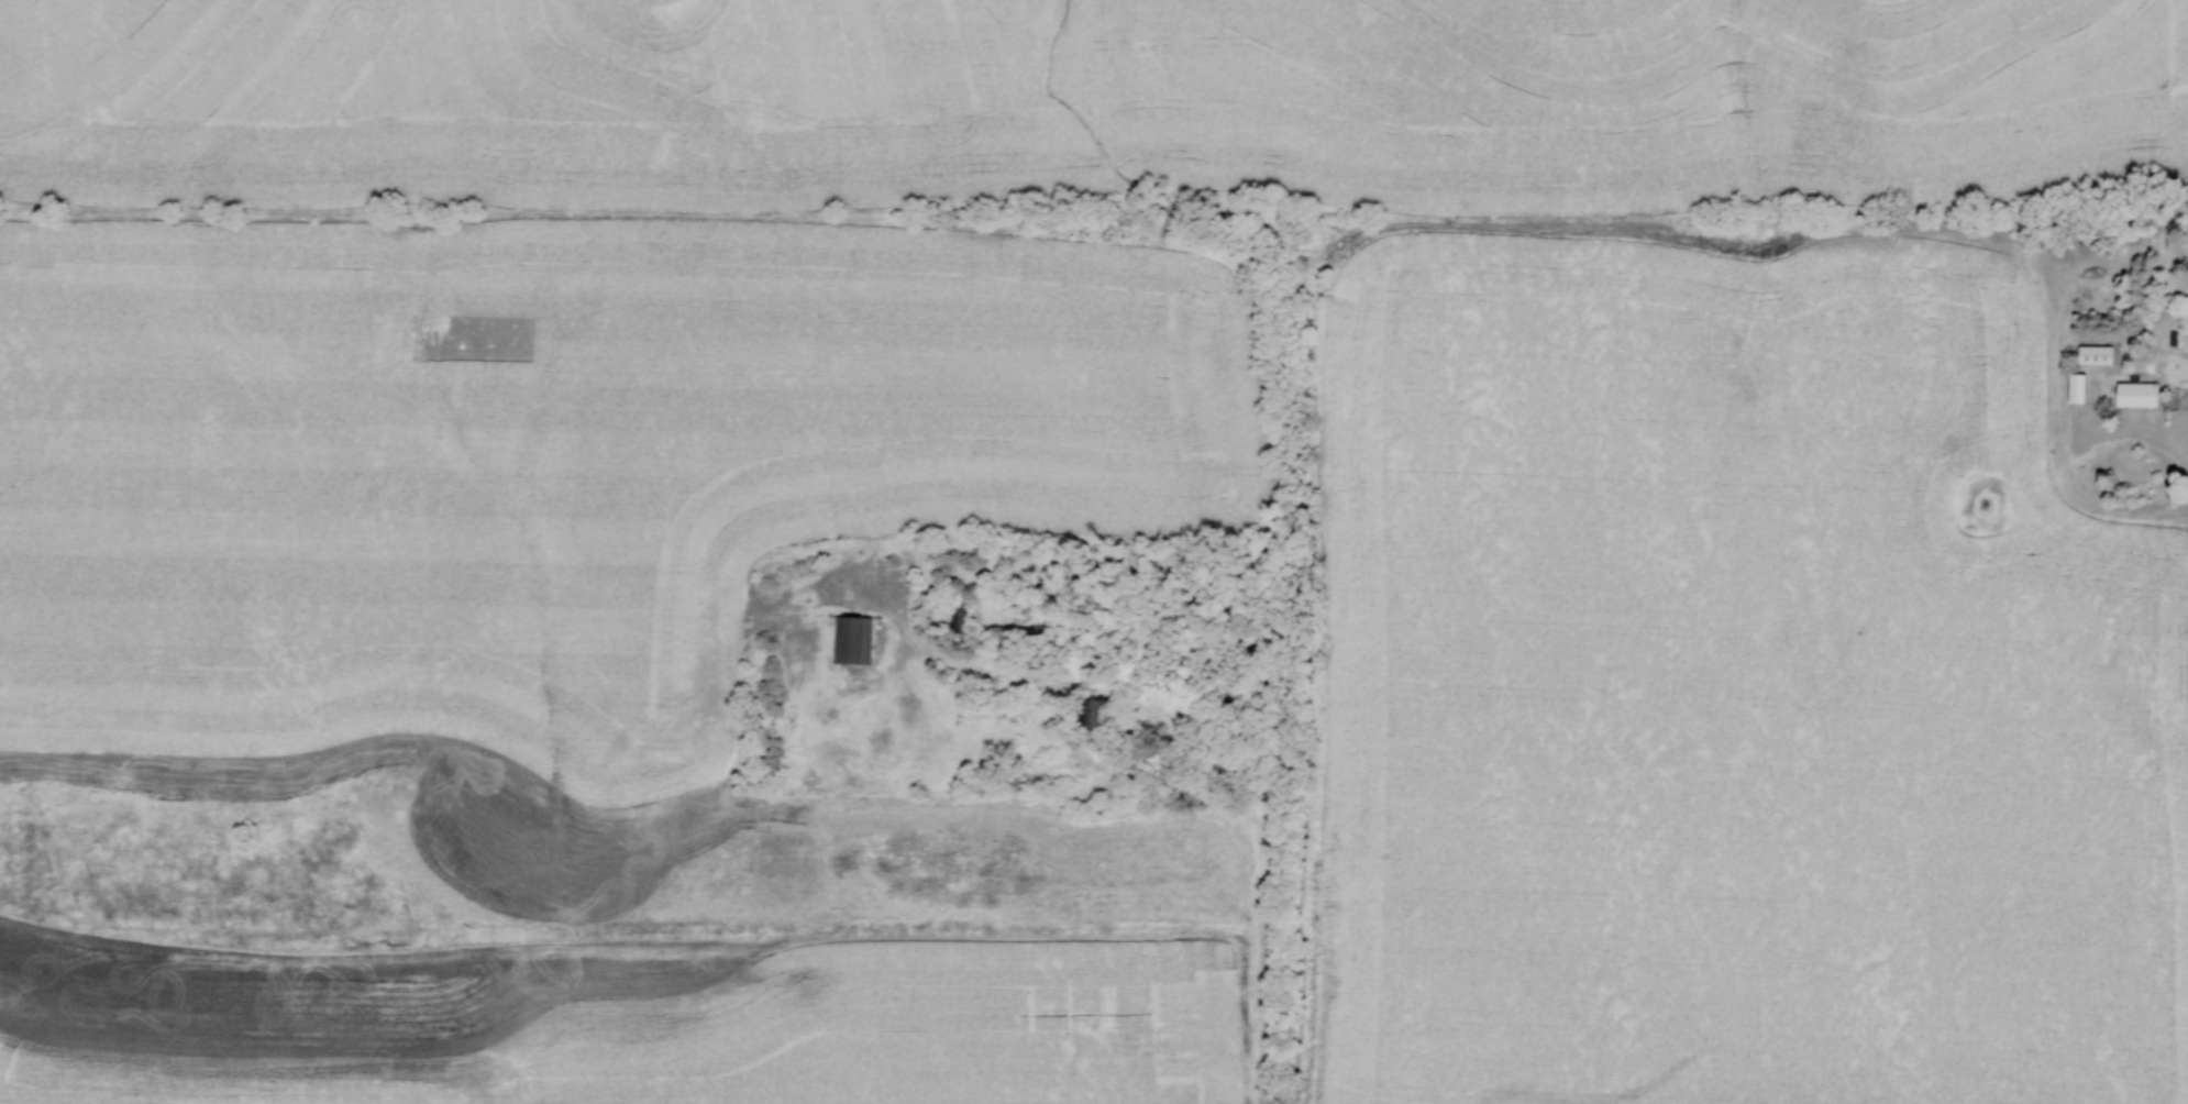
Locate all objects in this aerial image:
building: (2095, 356)
building: (2077, 389)
building: (2137, 396)
road: (2143, 432)
building: (960, 616)
building: (851, 641)
building: (1235, 696)
building: (1090, 714)

